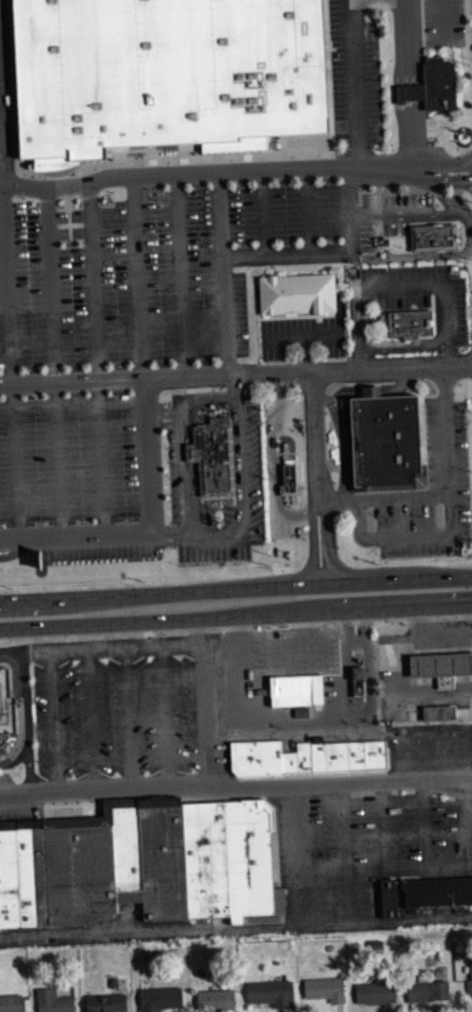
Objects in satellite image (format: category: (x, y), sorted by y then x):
parking lot: (354, 73)
building: (164, 75)
road: (355, 84)
building: (438, 84)
parking lot: (5, 87)
road: (234, 172)
road: (305, 211)
road: (263, 212)
road: (406, 213)
building: (435, 237)
road: (327, 252)
road: (429, 254)
parking lot: (174, 266)
road: (223, 275)
road: (177, 276)
road: (137, 277)
road: (400, 285)
building: (297, 293)
parking lot: (422, 295)
road: (7, 322)
building: (406, 323)
parking lot: (302, 335)
road: (302, 335)
road: (403, 346)
road: (96, 363)
road: (53, 364)
road: (236, 375)
road: (399, 385)
road: (371, 391)
road: (336, 394)
road: (280, 395)
road: (187, 398)
parking lot: (282, 410)
road: (235, 420)
building: (385, 441)
road: (190, 451)
parking lot: (446, 451)
building: (213, 457)
parking lot: (81, 458)
road: (314, 458)
road: (298, 464)
building: (288, 473)
road: (275, 481)
road: (190, 497)
road: (383, 497)
road: (246, 501)
parking lot: (215, 506)
road: (449, 514)
parking lot: (284, 531)
road: (151, 533)
parking lot: (104, 553)
road: (361, 580)
road: (153, 592)
road: (27, 600)
road: (365, 606)
road: (129, 620)
road: (201, 630)
road: (462, 637)
road: (469, 638)
road: (113, 647)
road: (12, 649)
building: (440, 666)
gas station: (440, 666)
road: (393, 678)
building: (358, 681)
building: (298, 694)
building: (5, 704)
building: (437, 712)
road: (206, 716)
parking lot: (119, 717)
road: (167, 718)
road: (129, 719)
road: (91, 721)
road: (55, 722)
road: (26, 723)
road: (20, 726)
road: (339, 734)
building: (415, 752)
parking lot: (437, 755)
road: (440, 756)
road: (395, 757)
building: (305, 759)
road: (341, 784)
road: (105, 793)
road: (425, 824)
road: (463, 825)
road: (382, 827)
parking lot: (364, 849)
road: (345, 854)
road: (296, 856)
building: (138, 865)
road: (408, 869)
building: (437, 891)
building: (387, 896)
road: (236, 929)
building: (469, 981)
building: (325, 988)
building: (270, 992)
building: (375, 992)
building: (428, 992)
building: (159, 998)
building: (215, 999)
building: (53, 1001)
building: (10, 1002)
building: (106, 1002)

